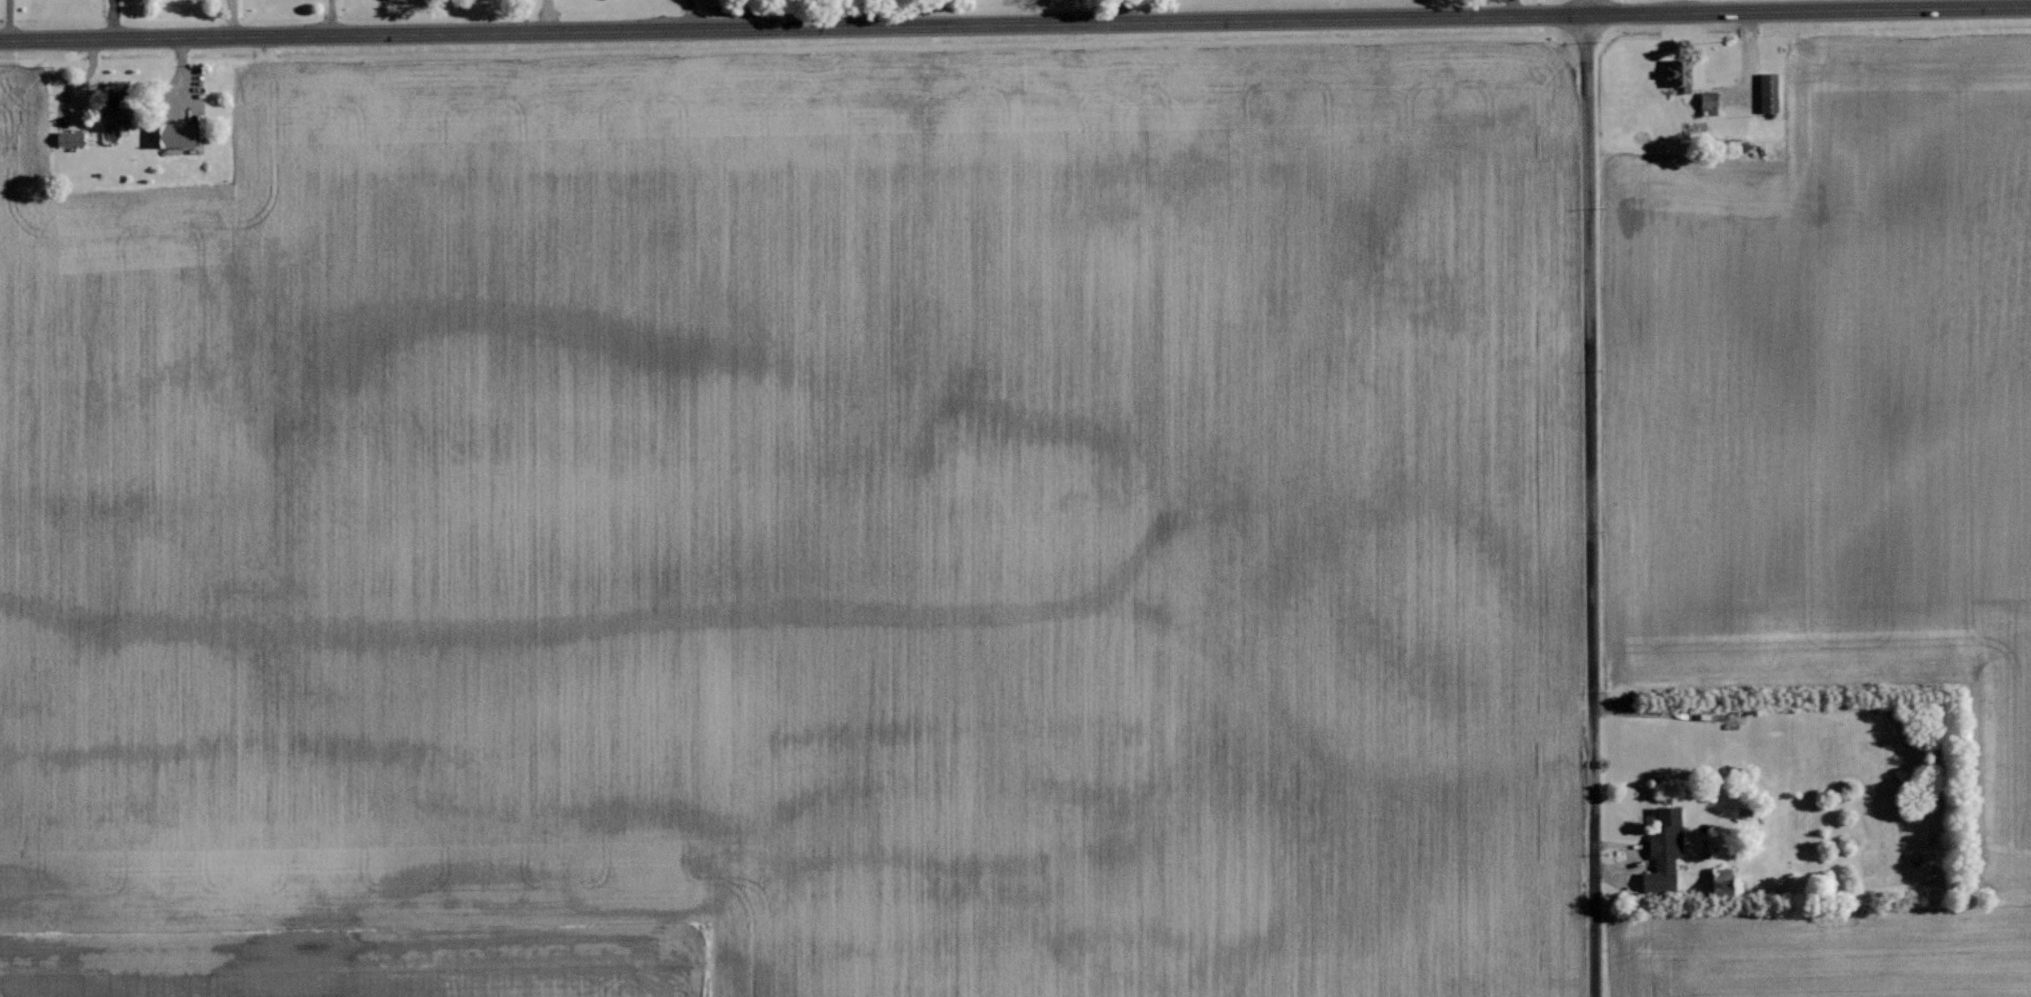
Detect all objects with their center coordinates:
road: (1015, 21)
building: (1678, 73)
building: (1767, 92)
building: (1707, 98)
building: (110, 102)
building: (170, 134)
building: (67, 138)
road: (1590, 498)
building: (1663, 849)
building: (1719, 884)

